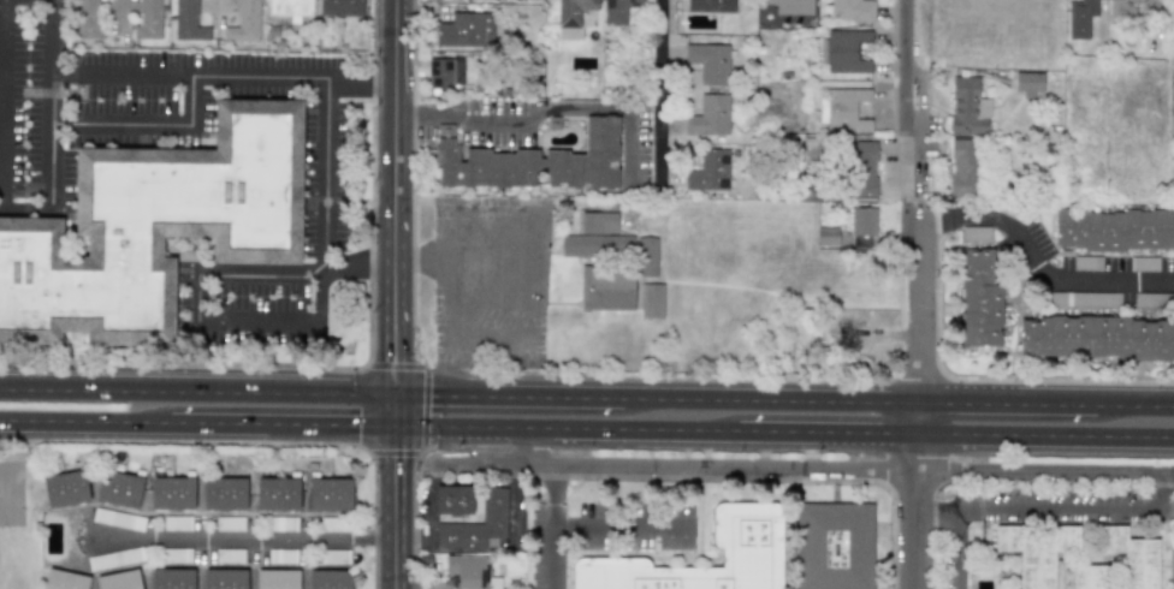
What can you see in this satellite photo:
building: (710, 6)
building: (340, 7)
building: (1173, 7)
building: (290, 8)
building: (1127, 8)
building: (618, 10)
building: (852, 10)
building: (571, 17)
building: (1080, 17)
building: (89, 18)
building: (152, 19)
building: (188, 22)
building: (244, 23)
building: (466, 30)
road: (49, 31)
building: (847, 50)
building: (708, 61)
road: (186, 65)
road: (358, 69)
building: (445, 72)
road: (906, 73)
building: (1028, 83)
road: (664, 100)
road: (558, 107)
building: (967, 107)
building: (843, 109)
building: (708, 115)
road: (407, 117)
road: (154, 129)
building: (534, 161)
road: (919, 167)
building: (962, 167)
building: (862, 168)
building: (708, 171)
road: (392, 197)
road: (4, 203)
road: (1, 209)
building: (862, 221)
building: (154, 228)
building: (1114, 230)
building: (976, 232)
building: (826, 236)
building: (597, 238)
building: (862, 240)
building: (646, 256)
road: (467, 260)
building: (1086, 262)
road: (1038, 263)
building: (1144, 263)
road: (259, 272)
road: (356, 272)
road: (319, 285)
building: (606, 288)
building: (978, 298)
building: (1084, 298)
building: (651, 299)
building: (1154, 299)
road: (920, 301)
building: (1097, 337)
road: (196, 392)
road: (508, 397)
road: (771, 400)
road: (1008, 404)
road: (1134, 406)
road: (393, 410)
road: (921, 418)
road: (83, 421)
road: (280, 423)
road: (564, 428)
road: (829, 433)
road: (1048, 435)
road: (534, 447)
road: (919, 452)
road: (804, 469)
building: (65, 488)
building: (118, 488)
building: (172, 493)
building: (223, 493)
building: (277, 494)
building: (328, 494)
building: (452, 499)
road: (392, 506)
road: (1056, 508)
building: (115, 518)
building: (177, 523)
building: (230, 523)
building: (328, 523)
building: (478, 523)
building: (281, 524)
building: (746, 524)
road: (556, 526)
road: (623, 528)
road: (917, 529)
road: (244, 540)
building: (834, 546)
road: (961, 548)
building: (1036, 549)
building: (177, 555)
building: (229, 555)
building: (281, 555)
building: (334, 555)
building: (1132, 557)
building: (117, 558)
building: (470, 571)
building: (1087, 576)
building: (172, 578)
building: (224, 578)
building: (277, 578)
building: (64, 579)
building: (119, 579)
building: (328, 579)

